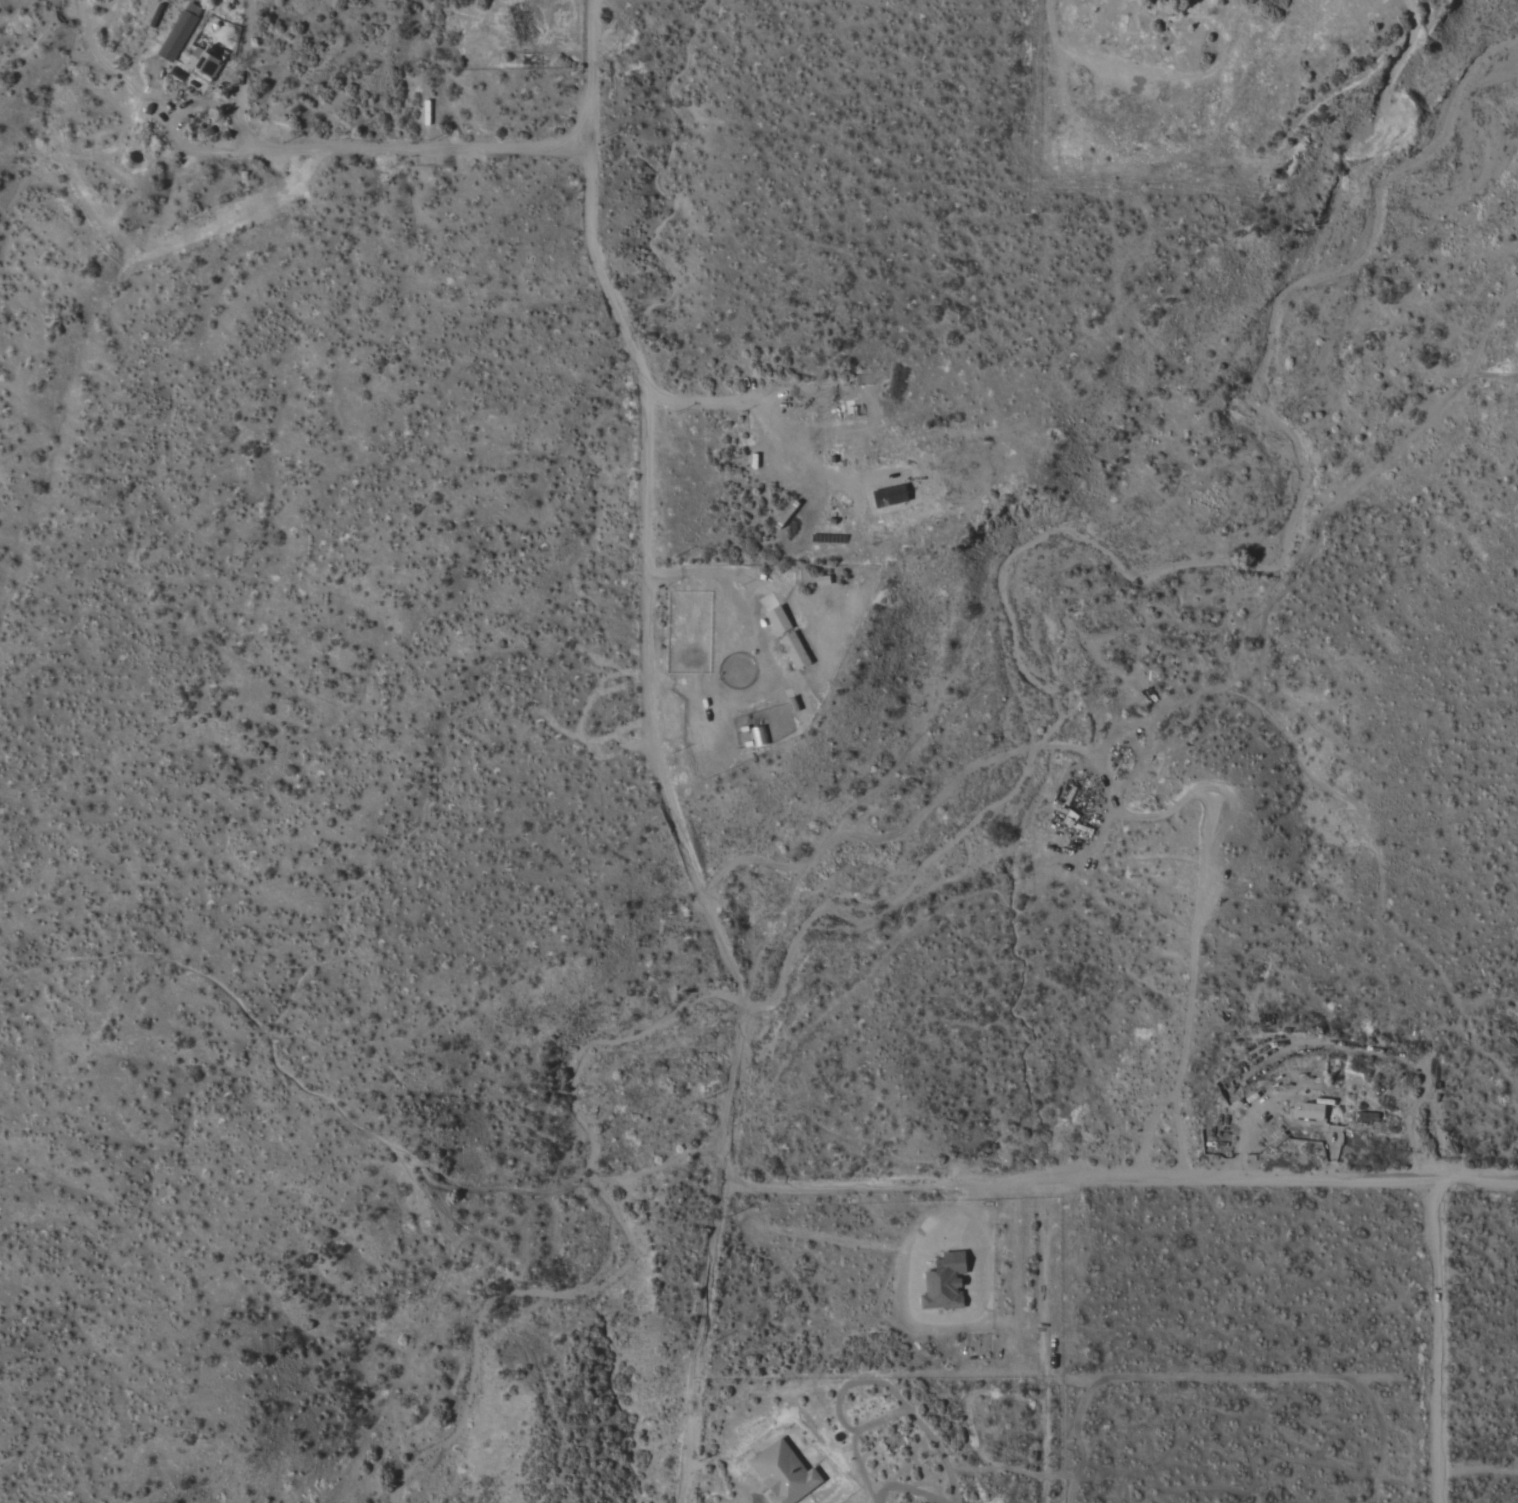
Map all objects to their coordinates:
building: (180, 32)
road: (348, 149)
road: (762, 410)
building: (890, 496)
building: (778, 620)
road: (761, 637)
building: (795, 650)
road: (655, 755)
road: (1111, 800)
road: (1398, 1049)
building: (1310, 1111)
road: (1147, 1129)
road: (1119, 1176)
building: (944, 1282)
road: (1052, 1339)
road: (1433, 1341)
building: (784, 1473)

